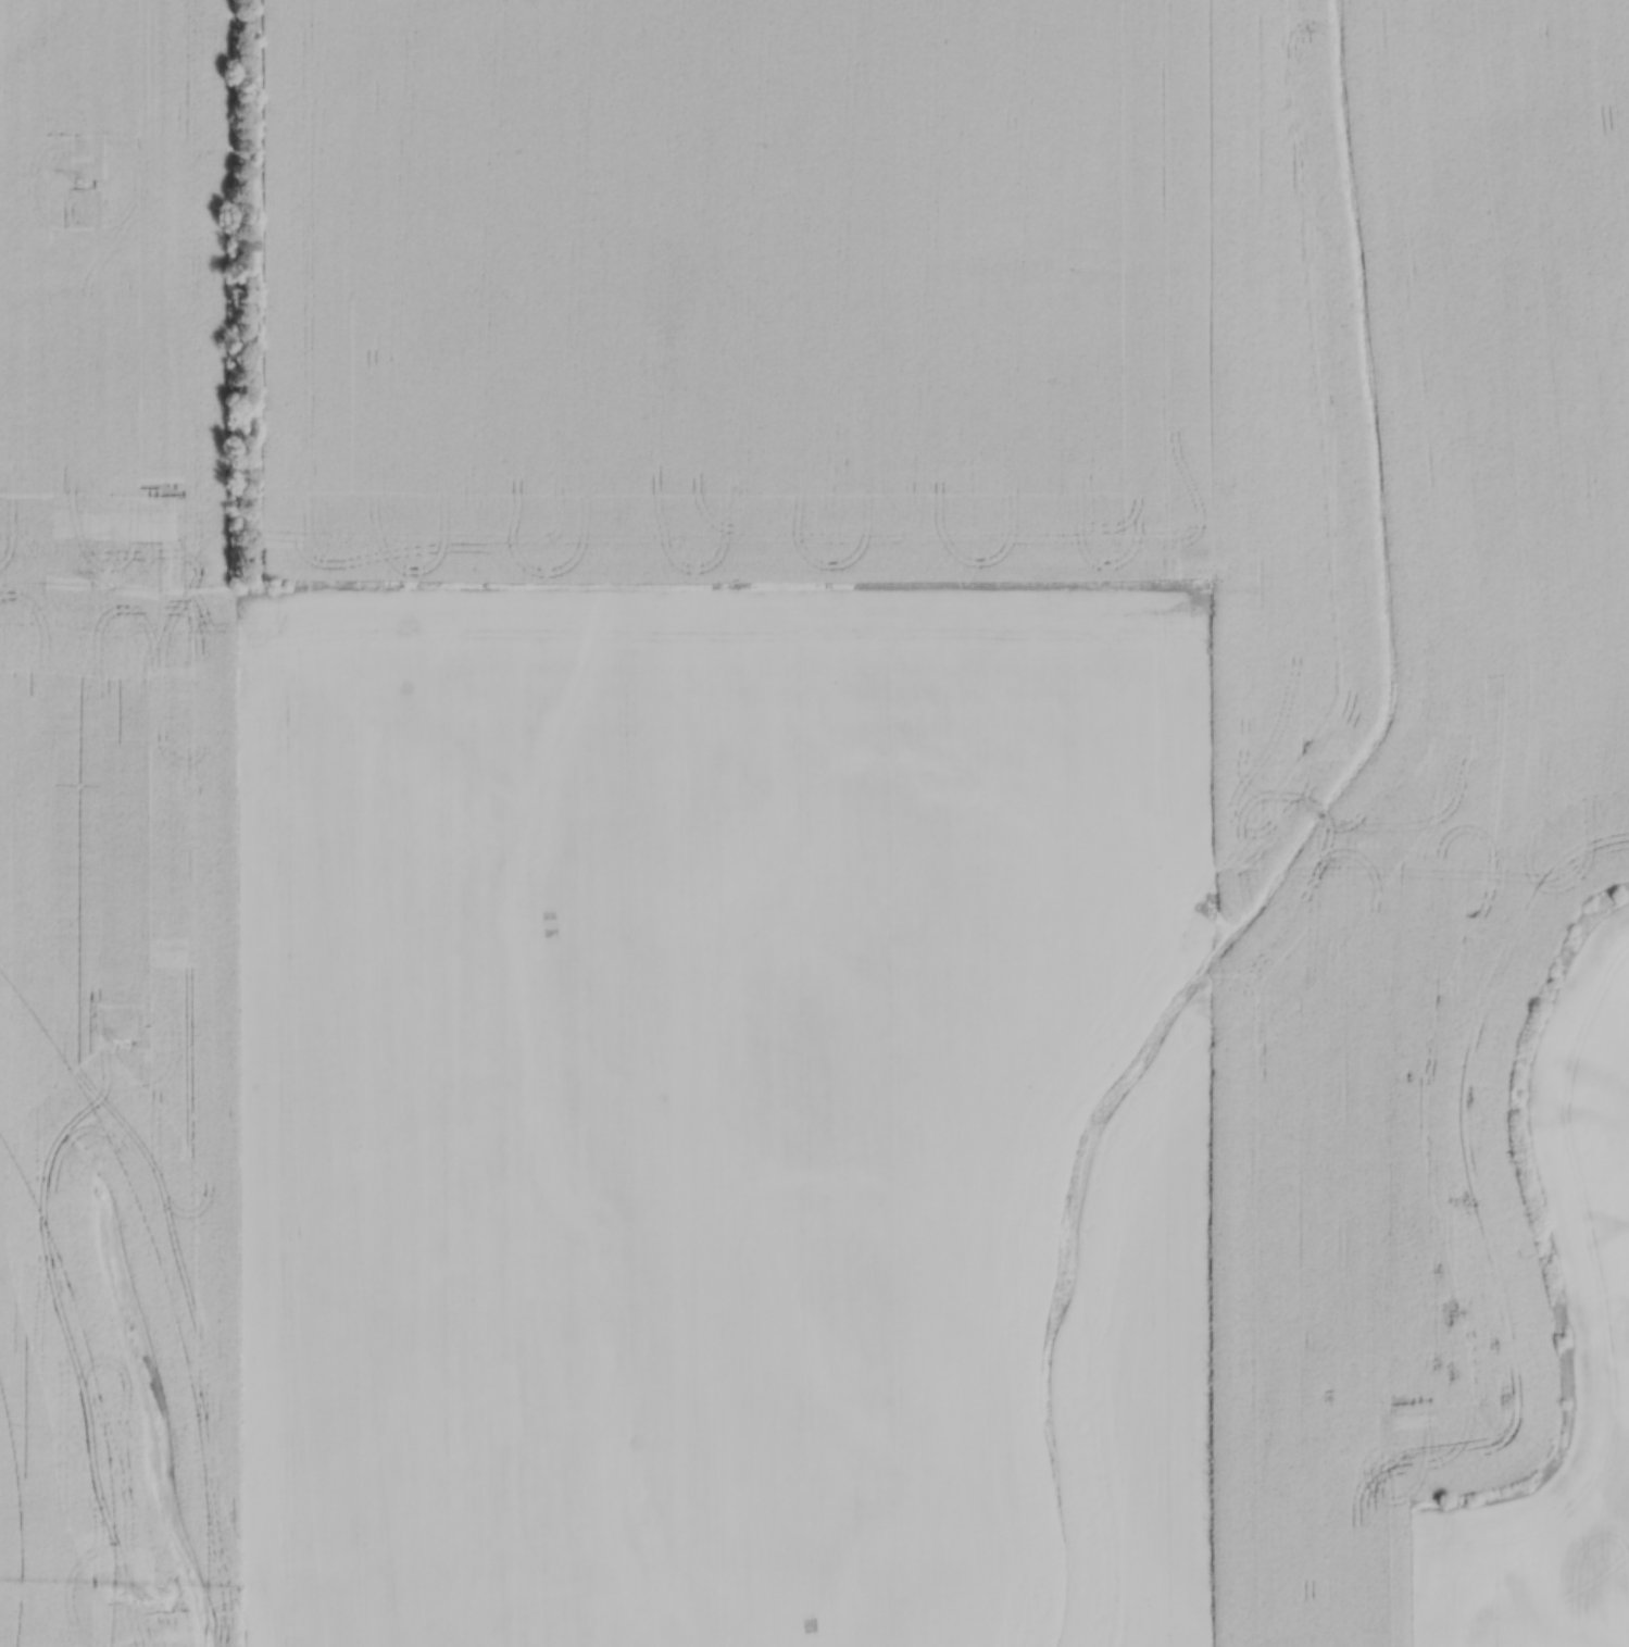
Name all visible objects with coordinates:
power tower: (85, 185)
power tower: (100, 587)
power tower: (118, 1043)
power tower: (145, 1597)

